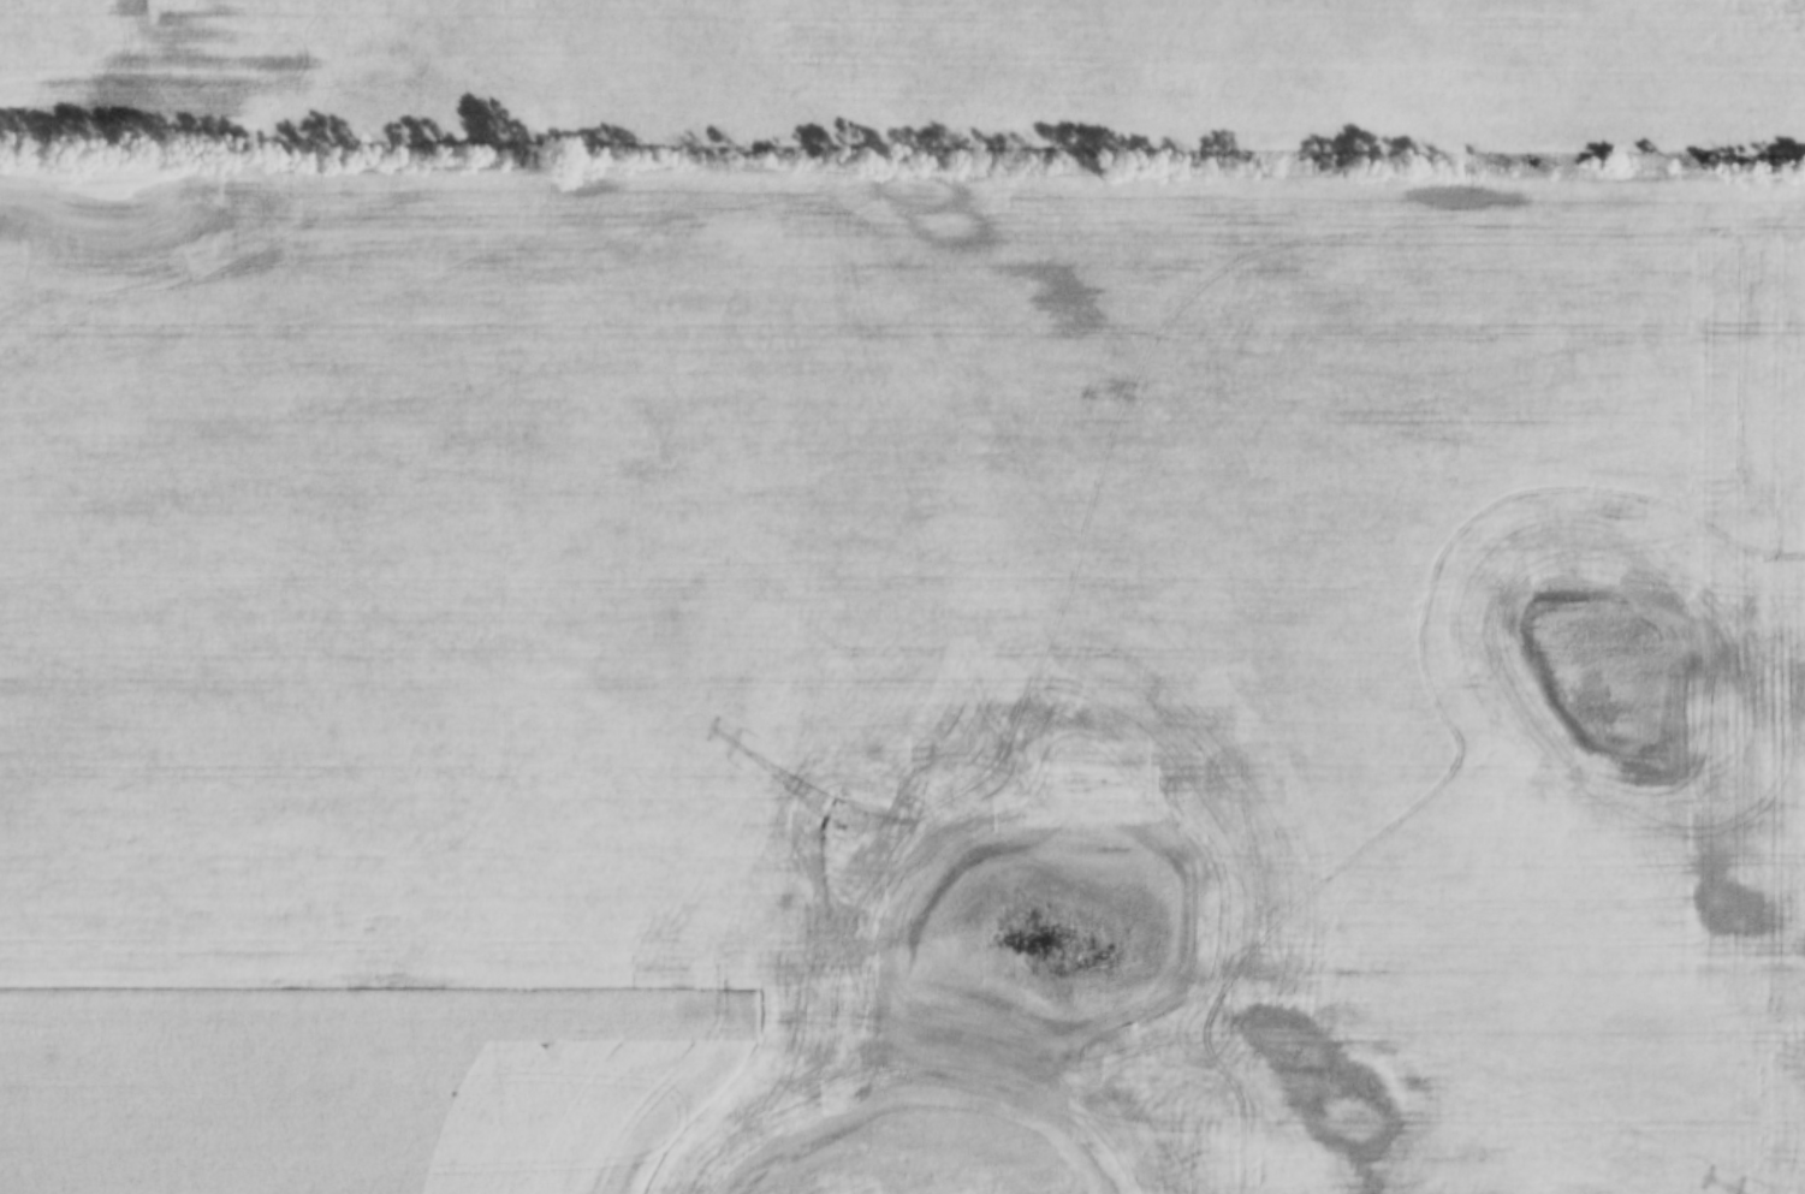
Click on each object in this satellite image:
power tower: (848, 820)

